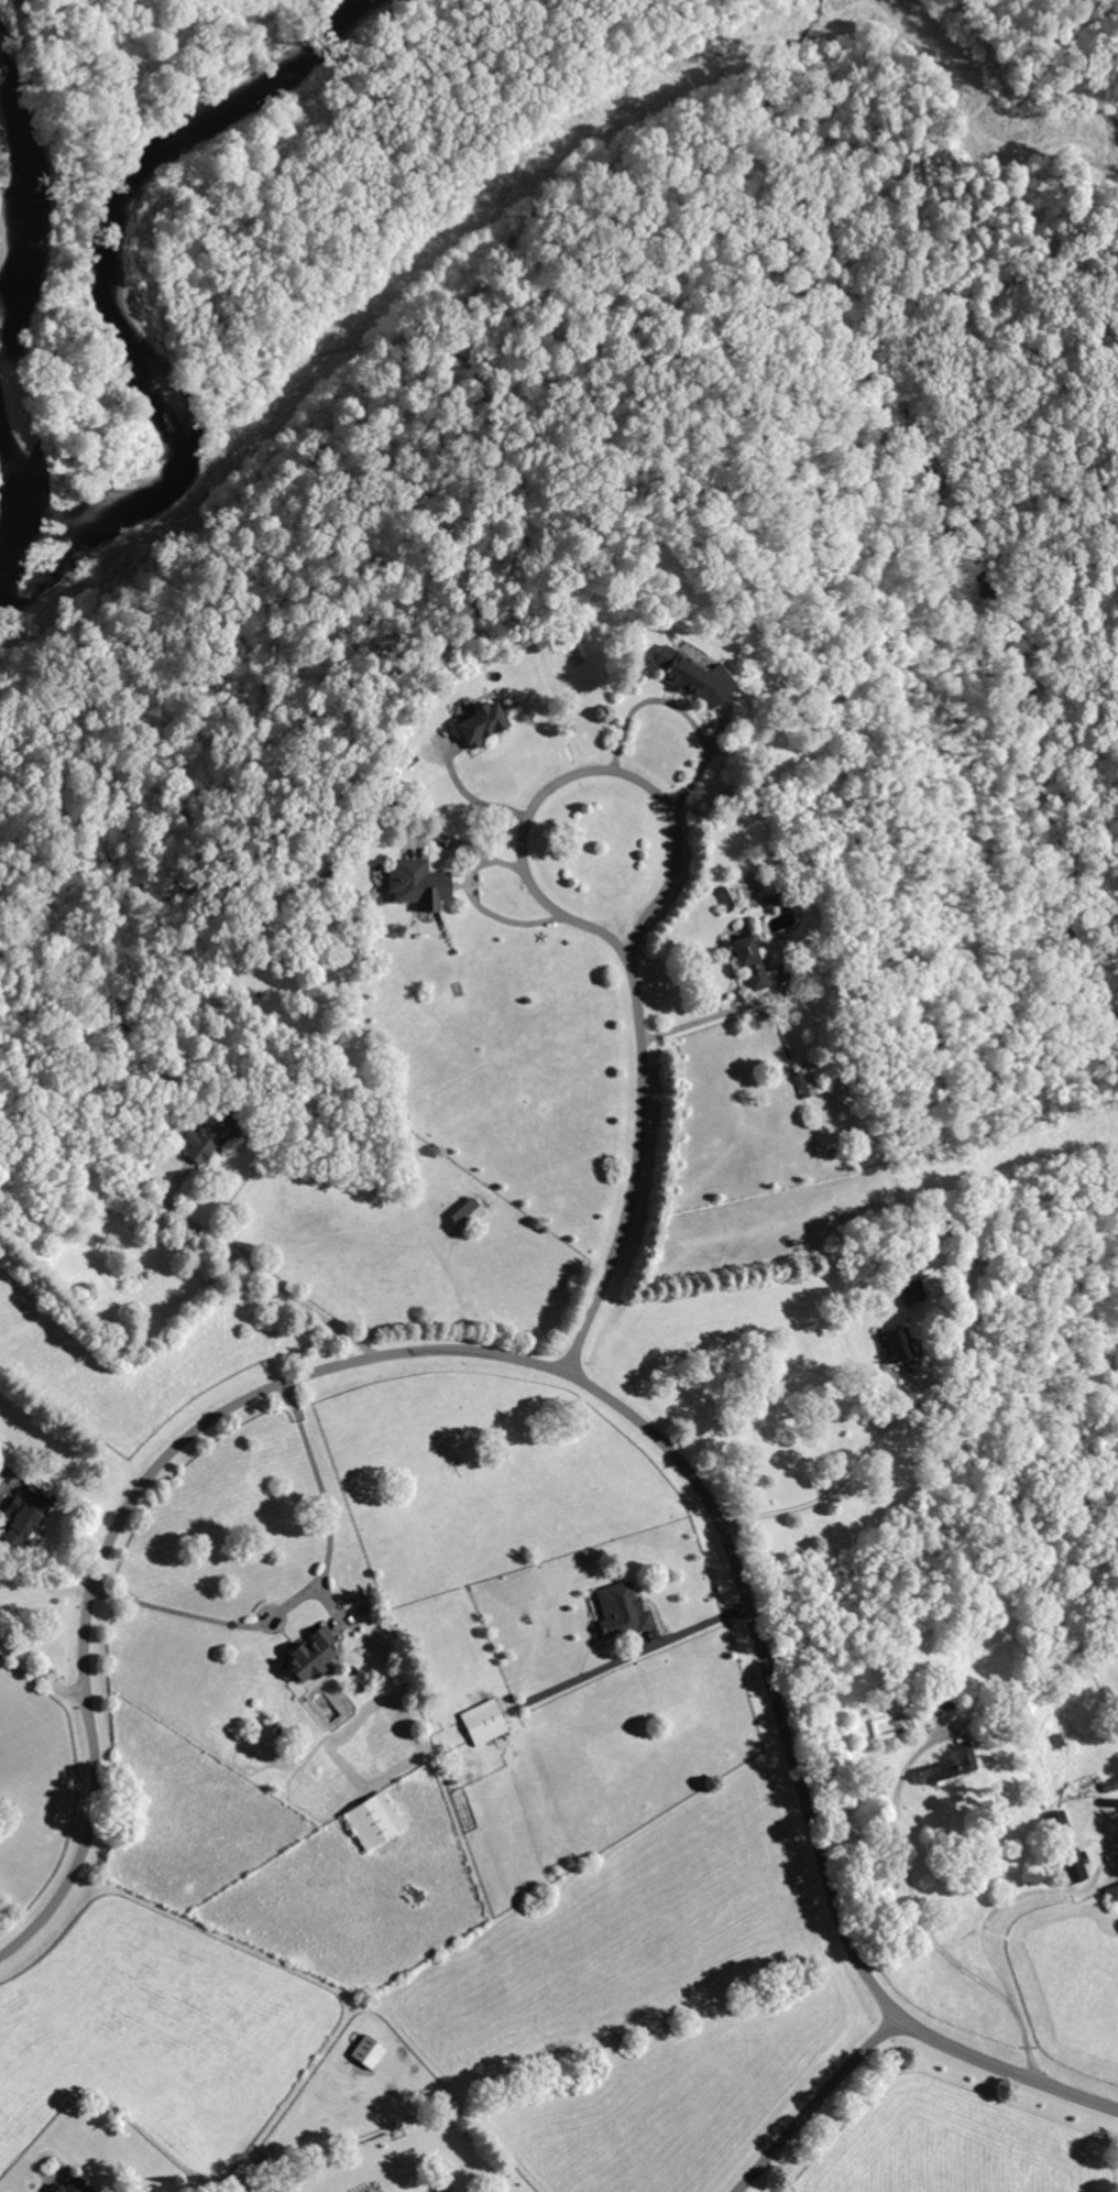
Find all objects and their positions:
river: (23, 288)
building: (695, 675)
road: (681, 710)
building: (486, 723)
road: (612, 766)
building: (420, 884)
building: (769, 901)
road: (481, 906)
building: (752, 960)
road: (709, 1017)
building: (809, 1080)
building: (210, 1134)
road: (639, 1170)
building: (58, 1189)
building: (468, 1214)
road: (254, 1269)
building: (910, 1290)
building: (902, 1348)
road: (451, 1349)
road: (834, 1487)
building: (22, 1516)
road: (303, 1590)
building: (631, 1610)
road: (634, 1651)
building: (311, 1657)
road: (43, 1675)
building: (490, 1721)
building: (950, 1763)
building: (373, 1820)
building: (1073, 1866)
building: (1111, 1893)
road: (920, 1922)
building: (369, 2053)
road: (1006, 2062)
road: (815, 2103)
building: (75, 2188)

